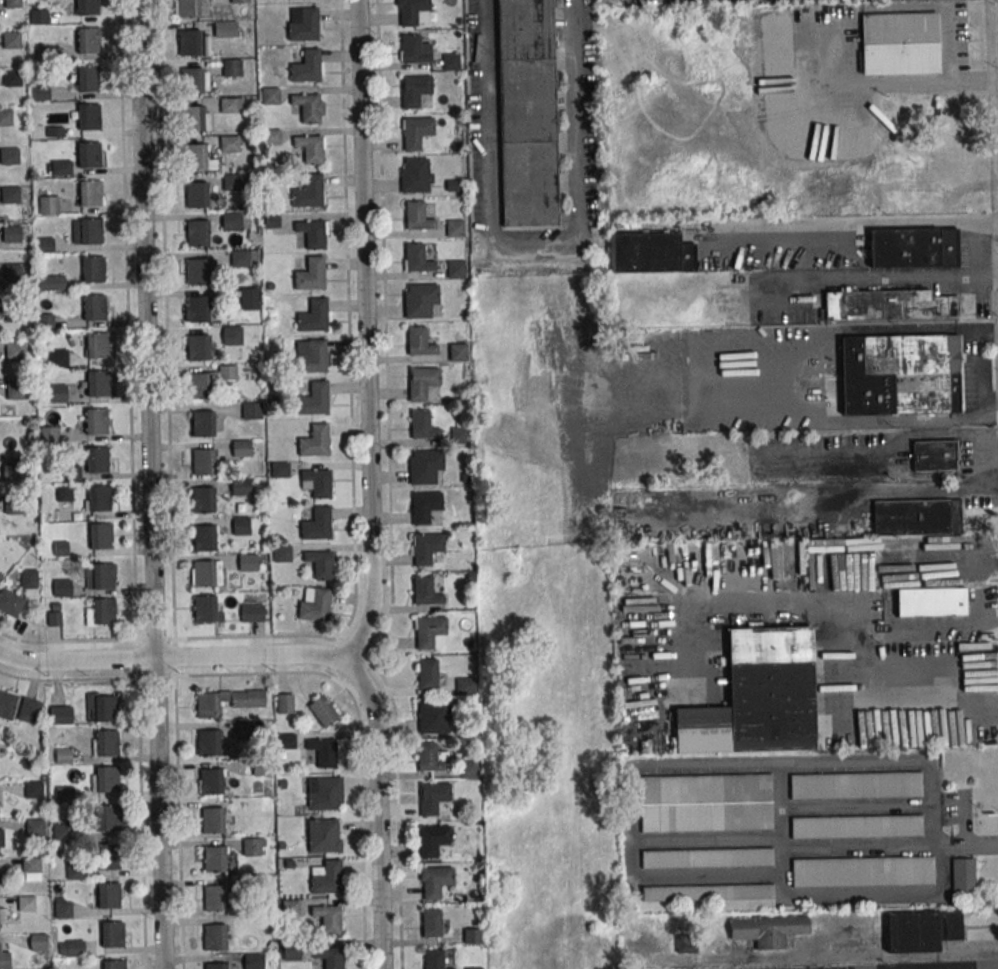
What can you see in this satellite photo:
building: (827, 0)
building: (239, 1)
building: (87, 7)
building: (187, 8)
building: (411, 10)
building: (38, 16)
building: (304, 26)
building: (225, 29)
building: (87, 40)
building: (189, 42)
building: (899, 44)
building: (415, 48)
building: (451, 62)
building: (306, 67)
building: (231, 68)
road: (947, 72)
building: (11, 77)
building: (87, 78)
building: (191, 80)
building: (414, 90)
building: (270, 96)
building: (228, 104)
building: (307, 107)
building: (527, 113)
building: (88, 116)
building: (5, 117)
building: (192, 118)
building: (416, 131)
building: (270, 137)
building: (229, 144)
building: (310, 148)
building: (88, 154)
building: (9, 156)
building: (195, 157)
building: (61, 167)
building: (416, 175)
building: (231, 182)
building: (308, 192)
building: (89, 193)
building: (9, 194)
building: (196, 195)
building: (47, 205)
building: (417, 217)
building: (270, 219)
building: (231, 221)
road: (866, 224)
building: (455, 228)
building: (90, 231)
building: (11, 233)
building: (197, 233)
building: (312, 234)
road: (534, 239)
building: (913, 248)
building: (654, 252)
building: (240, 258)
building: (417, 259)
building: (93, 269)
building: (455, 269)
building: (196, 270)
building: (12, 272)
building: (310, 274)
road: (891, 277)
building: (51, 282)
building: (249, 298)
building: (420, 300)
building: (888, 305)
building: (93, 307)
building: (198, 309)
building: (313, 316)
road: (127, 319)
road: (165, 319)
building: (45, 320)
road: (385, 330)
building: (232, 335)
road: (367, 335)
road: (348, 337)
building: (419, 342)
building: (272, 343)
building: (97, 345)
building: (197, 347)
building: (15, 350)
building: (458, 351)
building: (57, 357)
building: (313, 358)
building: (227, 371)
building: (900, 375)
building: (421, 381)
building: (97, 383)
building: (198, 386)
road: (789, 388)
building: (15, 390)
building: (58, 390)
building: (313, 399)
building: (251, 410)
building: (96, 421)
building: (202, 423)
building: (422, 425)
building: (459, 434)
building: (314, 441)
building: (241, 448)
road: (902, 455)
building: (934, 456)
building: (96, 459)
building: (203, 461)
building: (425, 466)
building: (280, 469)
building: (72, 473)
building: (316, 483)
road: (149, 484)
building: (240, 486)
building: (64, 493)
building: (99, 498)
building: (202, 499)
building: (12, 507)
building: (425, 507)
building: (916, 517)
building: (316, 524)
building: (241, 526)
building: (100, 536)
building: (204, 537)
building: (426, 548)
building: (282, 553)
building: (247, 562)
building: (320, 563)
building: (204, 573)
building: (100, 576)
building: (28, 578)
building: (62, 587)
building: (425, 591)
building: (10, 602)
building: (932, 602)
building: (314, 604)
building: (205, 608)
building: (102, 611)
building: (252, 613)
building: (54, 614)
road: (902, 630)
building: (430, 632)
road: (155, 638)
road: (172, 659)
road: (372, 660)
building: (427, 673)
building: (467, 685)
road: (928, 687)
building: (757, 698)
building: (285, 703)
building: (7, 704)
building: (207, 705)
building: (106, 708)
building: (29, 710)
building: (322, 711)
building: (60, 714)
building: (433, 717)
building: (249, 729)
building: (207, 741)
building: (286, 741)
building: (106, 742)
building: (327, 753)
building: (433, 758)
building: (469, 767)
building: (107, 779)
building: (211, 781)
building: (855, 785)
building: (34, 790)
building: (64, 793)
building: (324, 793)
building: (433, 798)
building: (706, 803)
road: (360, 804)
road: (378, 811)
road: (397, 813)
building: (107, 818)
building: (212, 820)
building: (856, 826)
building: (35, 827)
building: (61, 831)
building: (324, 835)
building: (432, 841)
building: (251, 846)
road: (891, 847)
building: (106, 856)
building: (707, 858)
building: (214, 859)
building: (31, 869)
building: (862, 871)
building: (962, 875)
building: (326, 877)
building: (435, 883)
building: (708, 892)
building: (109, 895)
building: (215, 898)
building: (26, 903)
building: (62, 908)
building: (290, 908)
building: (327, 919)
building: (431, 923)
building: (767, 930)
building: (920, 930)
building: (111, 934)
building: (472, 935)
building: (214, 938)
building: (38, 941)
building: (685, 943)
building: (74, 949)
building: (329, 958)
building: (4, 960)
building: (433, 960)
building: (114, 964)
building: (215, 965)
road: (979, 968)

